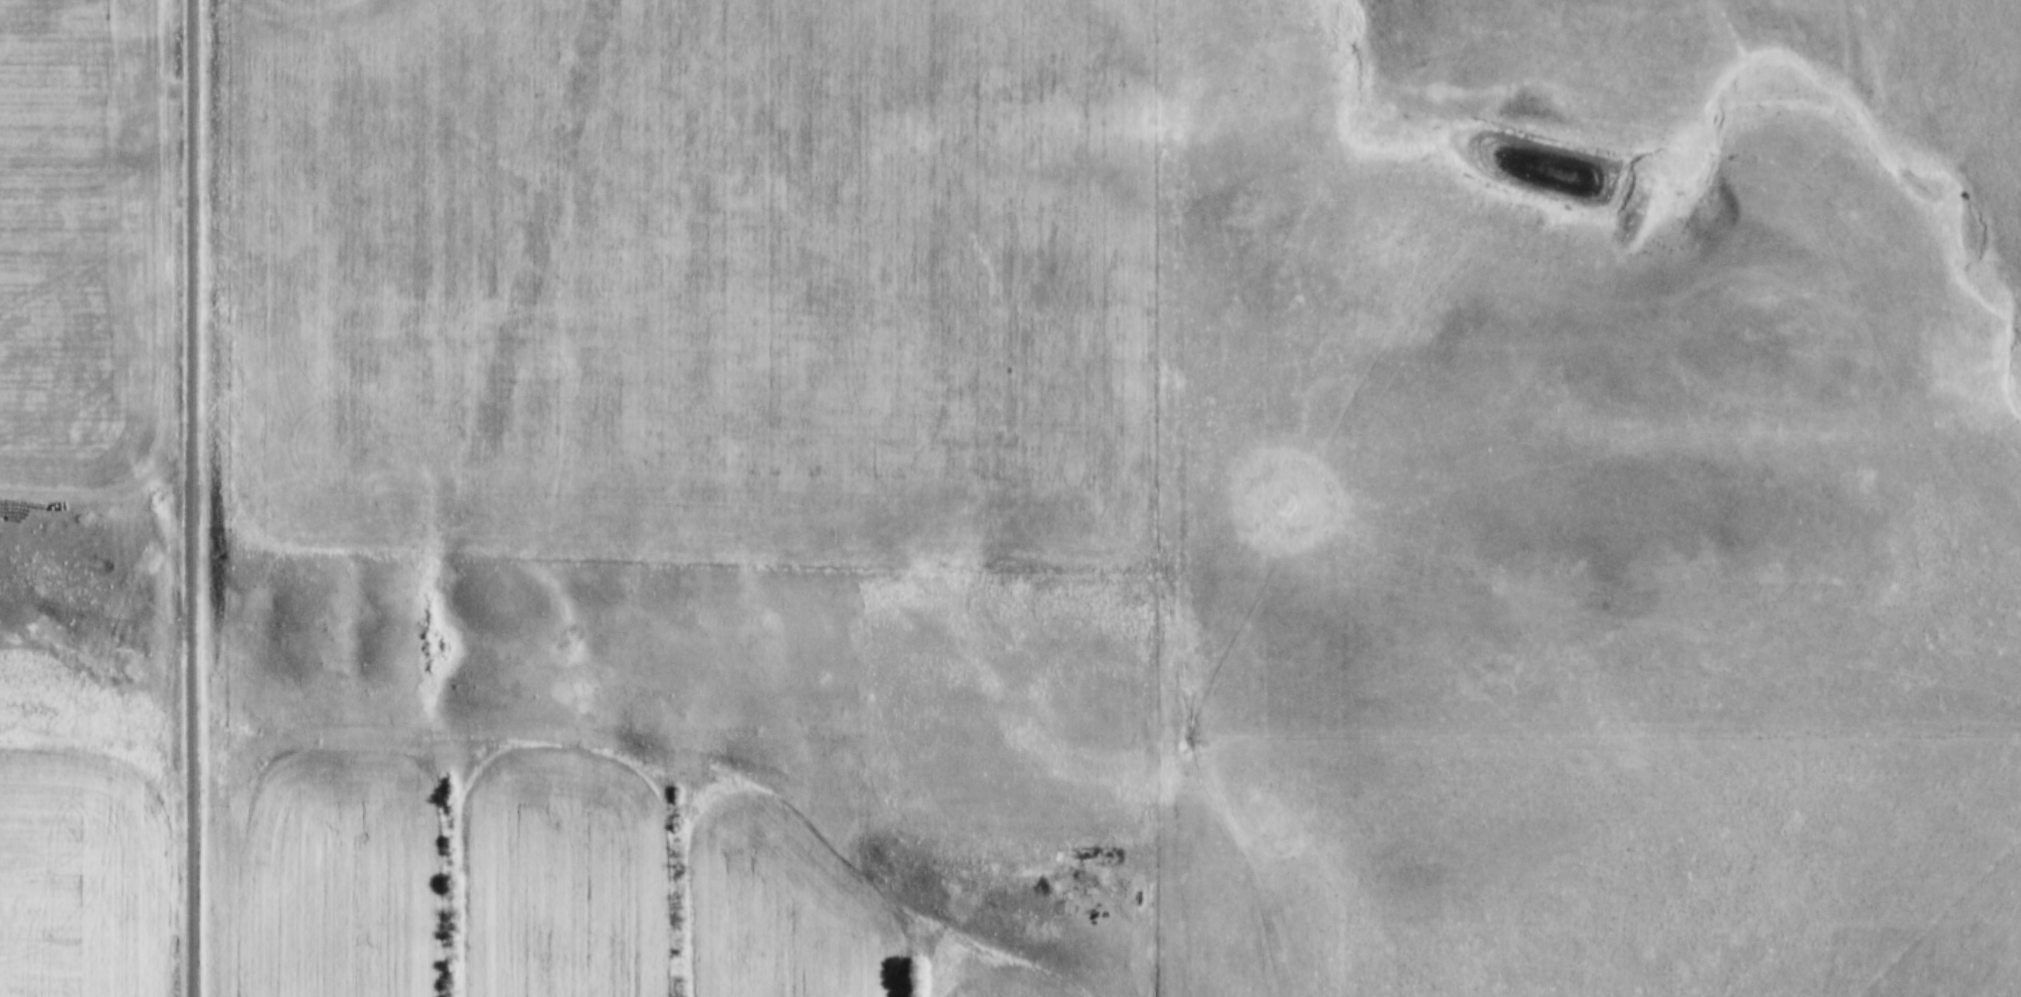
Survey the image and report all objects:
road: (188, 498)
road: (1159, 498)

